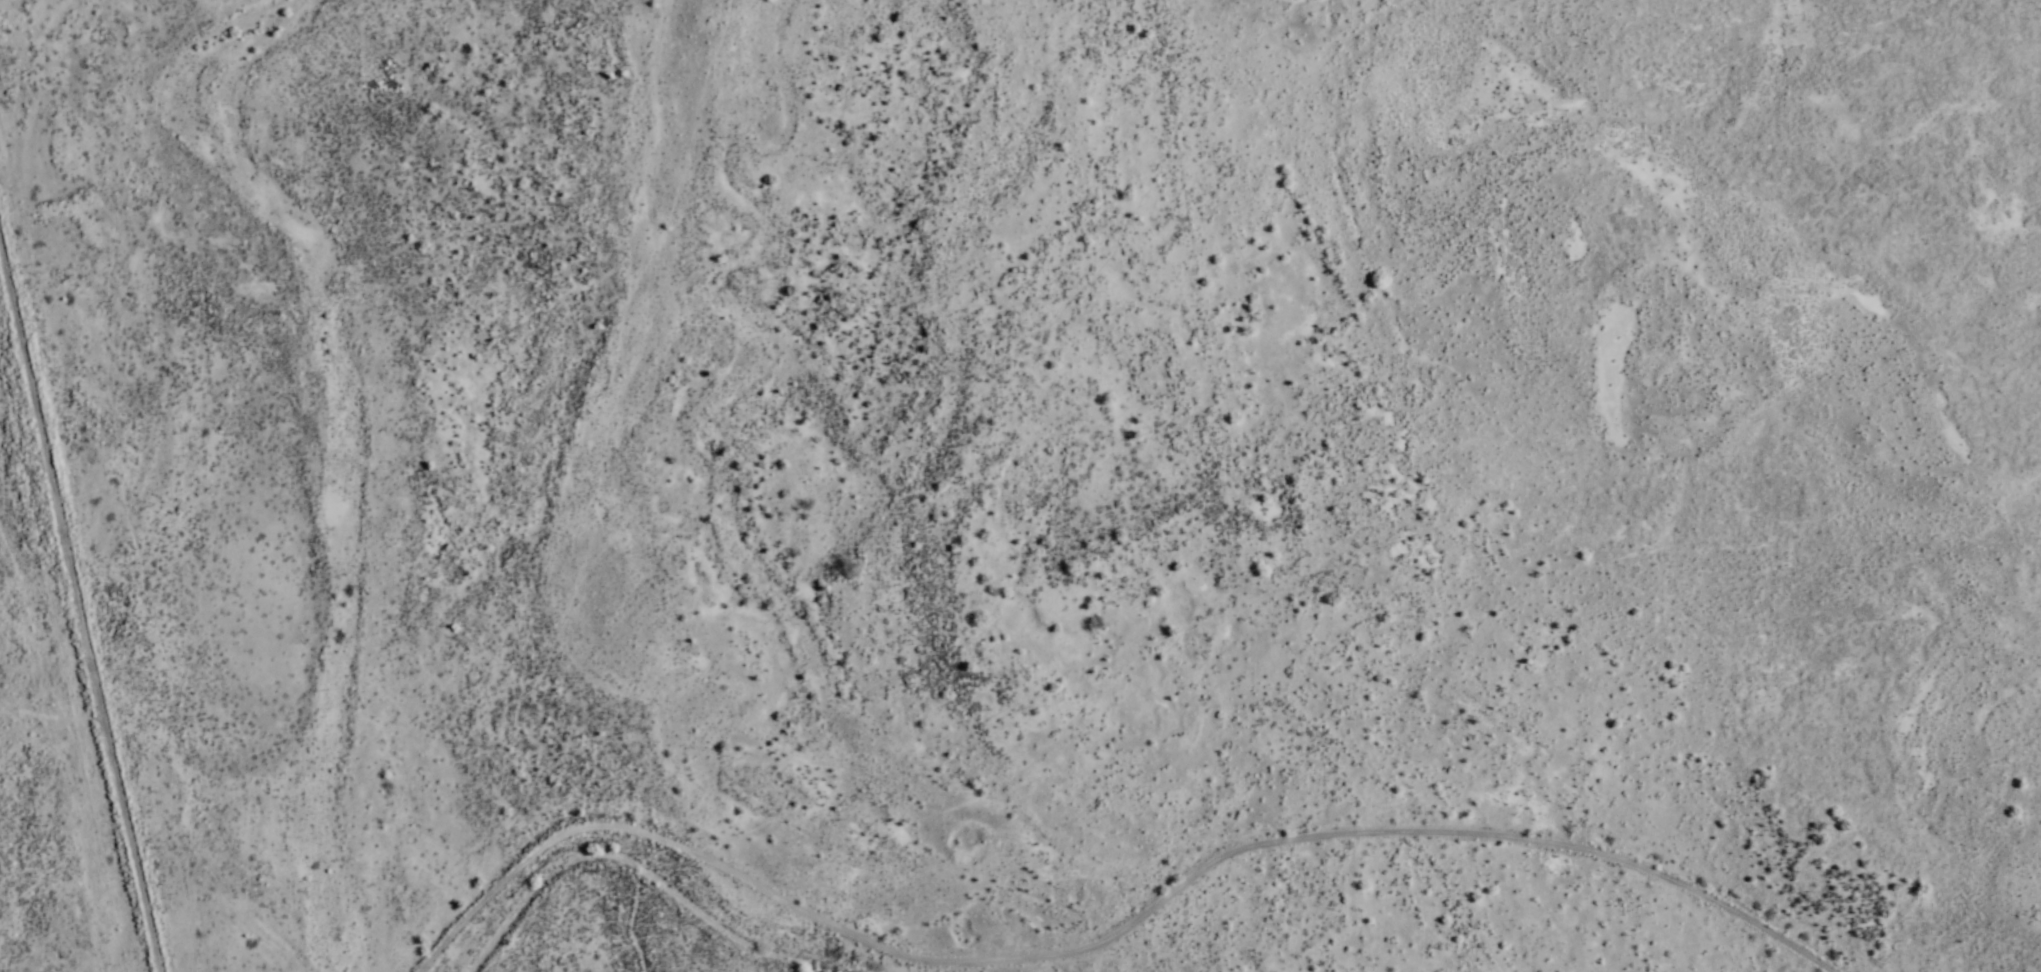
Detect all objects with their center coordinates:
road: (72, 641)
road: (1094, 940)

